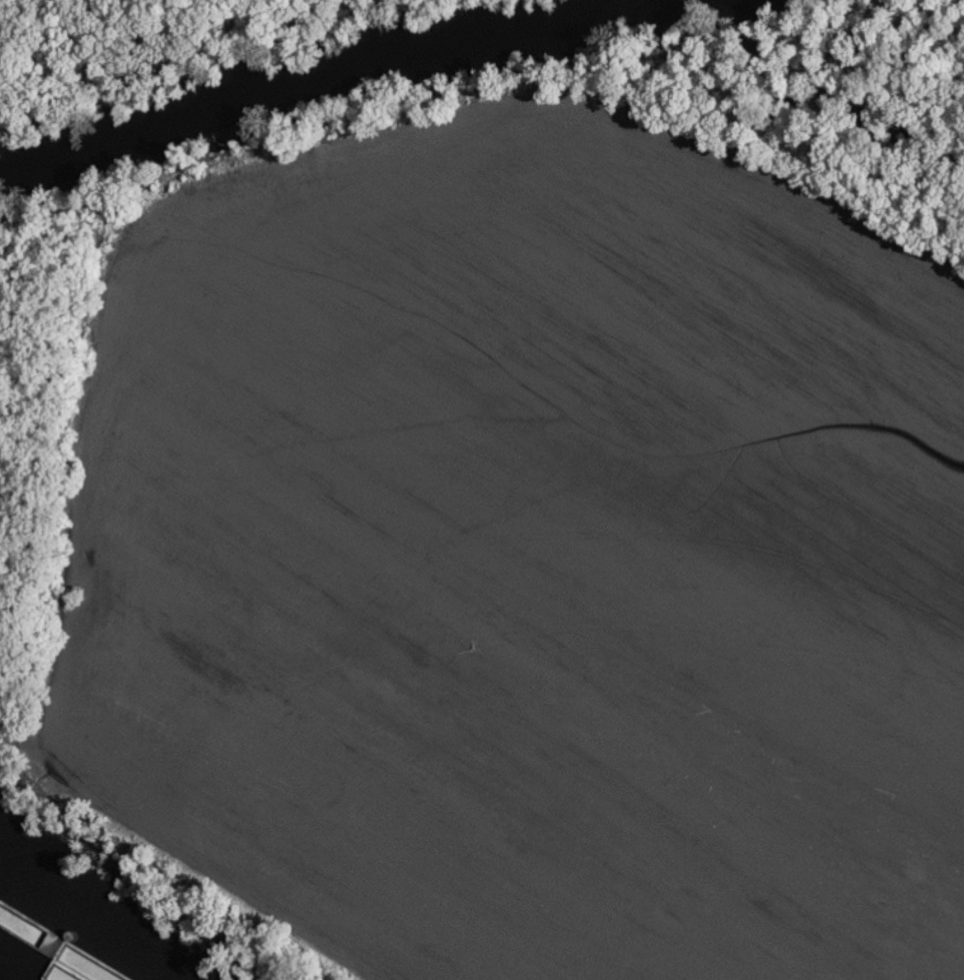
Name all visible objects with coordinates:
road: (346, 758)

